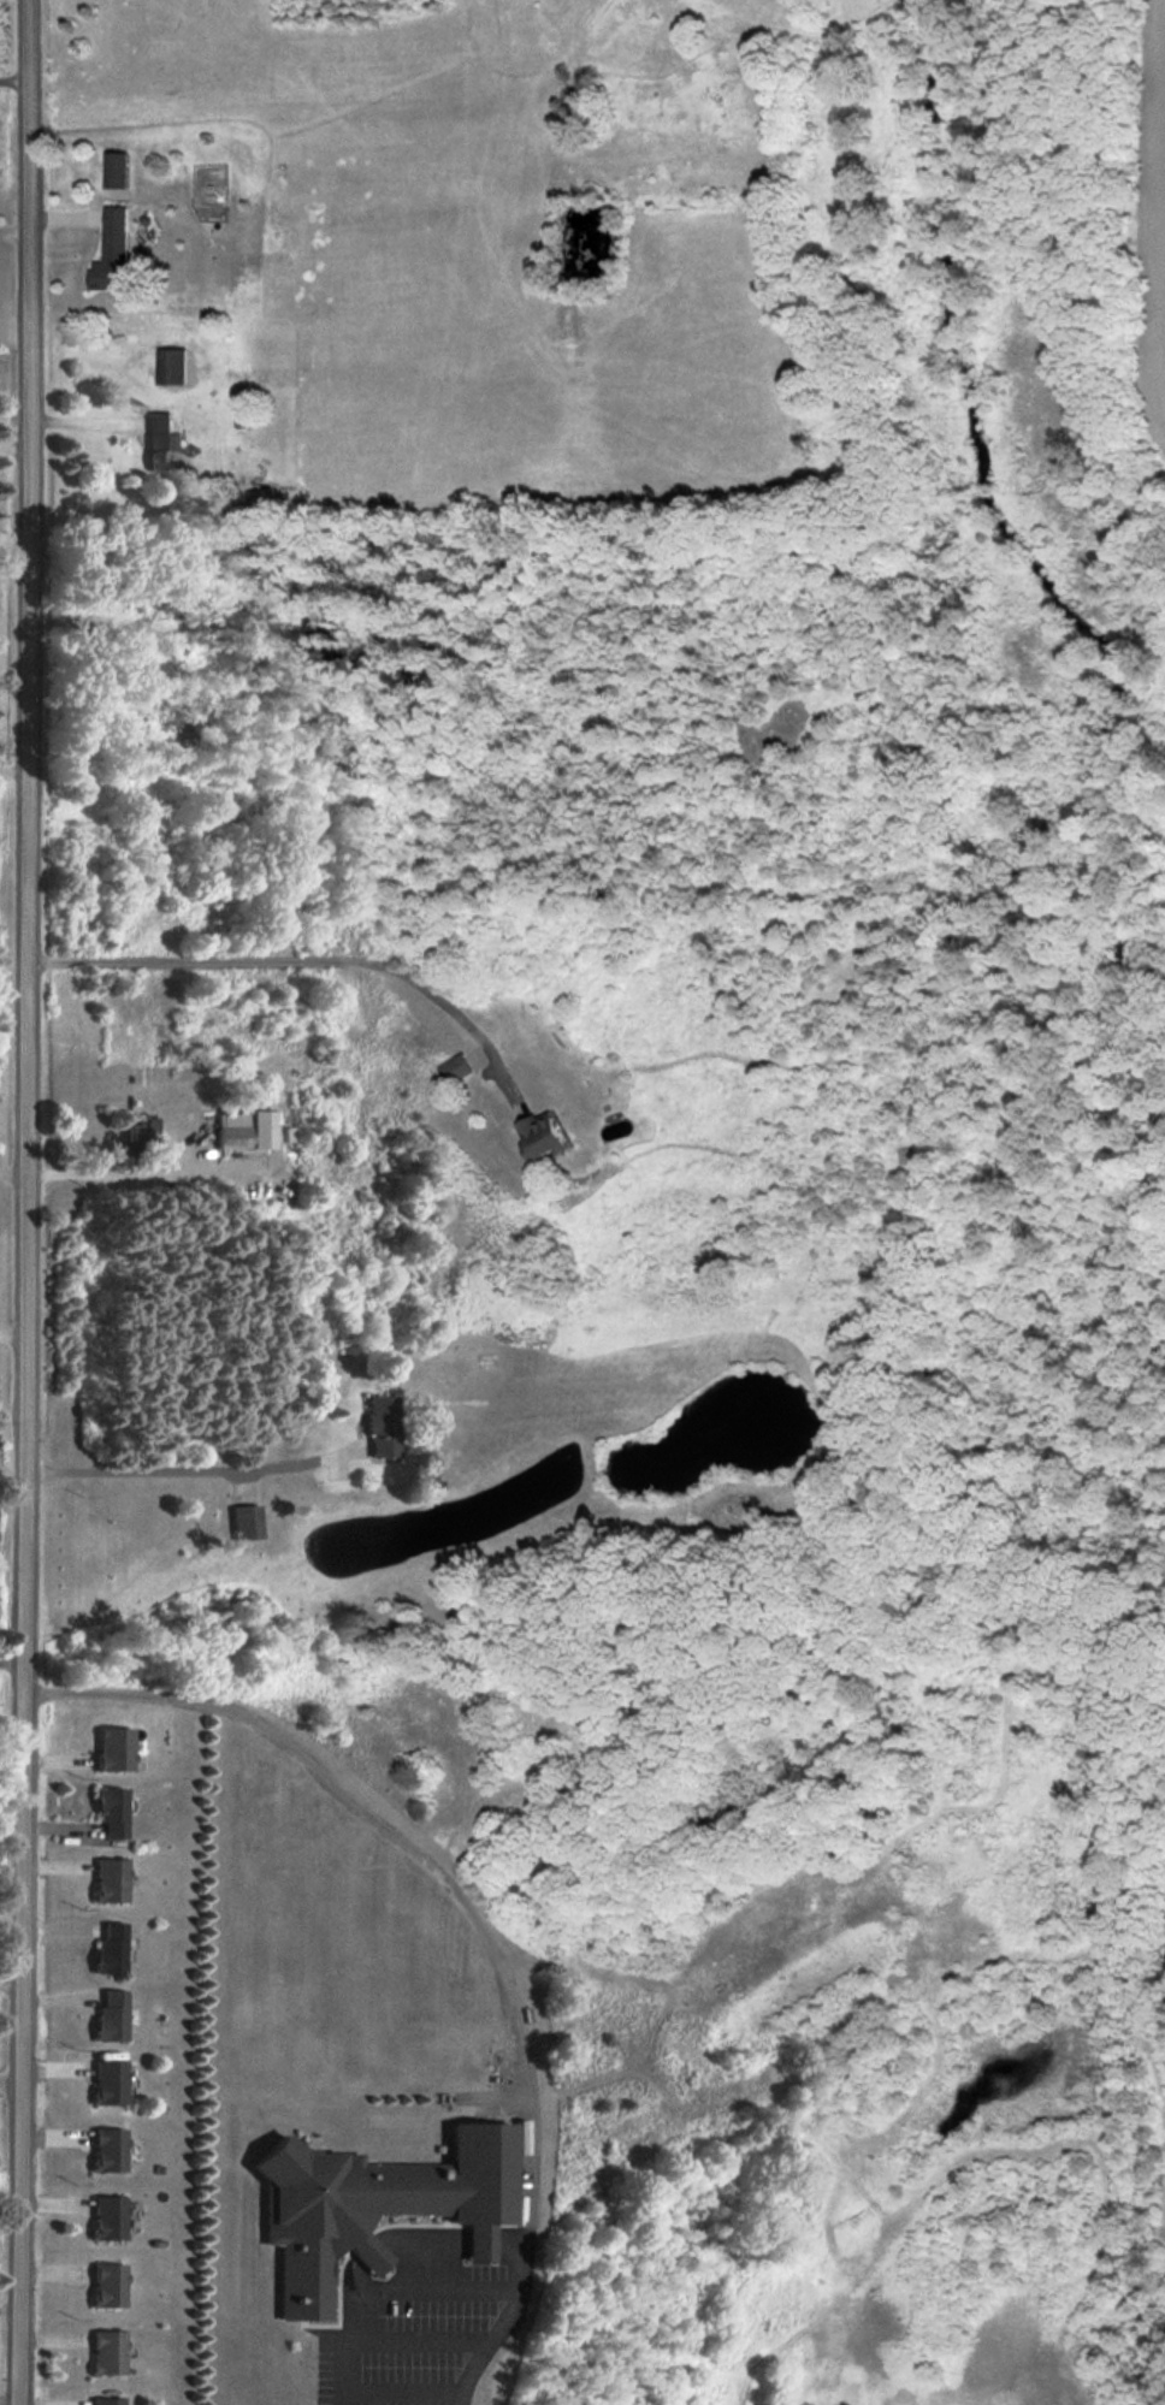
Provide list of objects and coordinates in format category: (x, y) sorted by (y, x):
road: (16, 83)
building: (116, 170)
building: (113, 253)
building: (172, 366)
road: (84, 431)
building: (159, 442)
road: (16, 449)
road: (303, 956)
building: (456, 1070)
building: (138, 1127)
building: (239, 1132)
road: (14, 1171)
road: (111, 1171)
road: (29, 1202)
road: (14, 1335)
building: (378, 1426)
road: (188, 1473)
building: (246, 1522)
road: (12, 1664)
building: (112, 1748)
building: (110, 1811)
road: (427, 1871)
building: (107, 1879)
building: (108, 1949)
building: (110, 2016)
building: (107, 2083)
building: (107, 2150)
building: (373, 2205)
building: (106, 2217)
building: (106, 2285)
road: (440, 2297)
road: (8, 2309)
building: (106, 2351)
road: (8, 2400)
building: (105, 2400)

